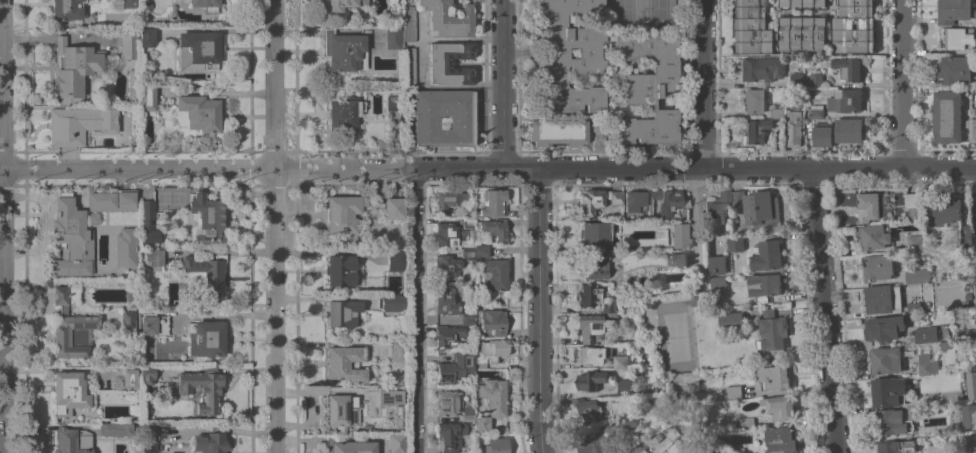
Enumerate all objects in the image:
building: (128, 3)
building: (803, 3)
building: (206, 5)
building: (339, 5)
building: (66, 9)
building: (784, 11)
building: (954, 11)
building: (448, 18)
building: (409, 24)
building: (751, 27)
building: (854, 27)
building: (803, 33)
road: (450, 36)
building: (146, 38)
building: (394, 38)
building: (959, 38)
building: (129, 45)
building: (199, 50)
building: (344, 50)
building: (450, 62)
building: (410, 66)
building: (74, 69)
building: (761, 69)
building: (848, 69)
building: (955, 70)
building: (584, 72)
building: (816, 79)
building: (796, 80)
building: (132, 83)
road: (503, 83)
road: (438, 84)
road: (702, 84)
road: (902, 84)
building: (147, 96)
building: (846, 100)
building: (755, 101)
building: (393, 103)
building: (817, 111)
building: (344, 112)
building: (777, 112)
building: (198, 114)
building: (947, 116)
building: (426, 121)
building: (79, 124)
building: (794, 125)
building: (971, 129)
building: (756, 130)
building: (851, 130)
building: (558, 132)
building: (823, 134)
building: (598, 136)
road: (488, 166)
road: (0, 167)
building: (615, 197)
building: (449, 199)
building: (112, 200)
building: (634, 201)
building: (666, 201)
building: (493, 202)
building: (590, 204)
building: (913, 204)
building: (868, 206)
building: (394, 207)
building: (759, 209)
building: (945, 209)
building: (719, 210)
building: (343, 212)
building: (207, 219)
building: (148, 222)
building: (467, 222)
road: (1, 226)
road: (273, 226)
building: (683, 226)
building: (495, 228)
building: (595, 233)
building: (451, 234)
building: (964, 234)
building: (874, 235)
building: (71, 238)
building: (685, 240)
building: (915, 242)
building: (736, 244)
building: (126, 246)
building: (480, 252)
building: (468, 253)
building: (767, 255)
building: (153, 256)
building: (678, 259)
building: (396, 260)
building: (594, 264)
building: (717, 265)
building: (446, 267)
building: (876, 267)
building: (341, 270)
building: (208, 272)
building: (494, 274)
building: (918, 275)
building: (718, 282)
building: (765, 286)
building: (587, 295)
building: (131, 296)
building: (697, 299)
building: (881, 299)
building: (446, 301)
building: (391, 302)
building: (607, 305)
building: (914, 306)
road: (415, 310)
road: (538, 310)
road: (823, 310)
building: (344, 313)
building: (611, 316)
building: (468, 318)
building: (128, 319)
building: (731, 320)
building: (493, 321)
building: (148, 323)
building: (72, 326)
building: (591, 326)
building: (884, 327)
building: (772, 331)
building: (448, 335)
building: (925, 335)
building: (205, 338)
building: (945, 345)
building: (494, 349)
building: (396, 351)
building: (591, 354)
building: (886, 360)
building: (621, 361)
building: (346, 363)
building: (926, 364)
building: (481, 365)
building: (455, 366)
building: (147, 374)
building: (774, 377)
building: (129, 378)
building: (591, 380)
building: (970, 385)
building: (624, 386)
building: (202, 387)
building: (961, 389)
building: (69, 392)
building: (741, 392)
road: (791, 392)
building: (886, 392)
building: (494, 395)
building: (702, 396)
building: (389, 397)
building: (933, 397)
building: (448, 403)
building: (780, 407)
building: (587, 409)
building: (341, 411)
building: (468, 413)
building: (398, 416)
building: (969, 416)
building: (895, 421)
building: (482, 423)
building: (629, 423)
building: (746, 423)
building: (116, 429)
building: (450, 436)
building: (148, 437)
building: (781, 440)
building: (972, 440)
building: (73, 441)
building: (210, 441)
building: (397, 443)
building: (596, 444)
building: (496, 445)
building: (350, 446)
building: (897, 446)
road: (658, 447)
building: (621, 452)

